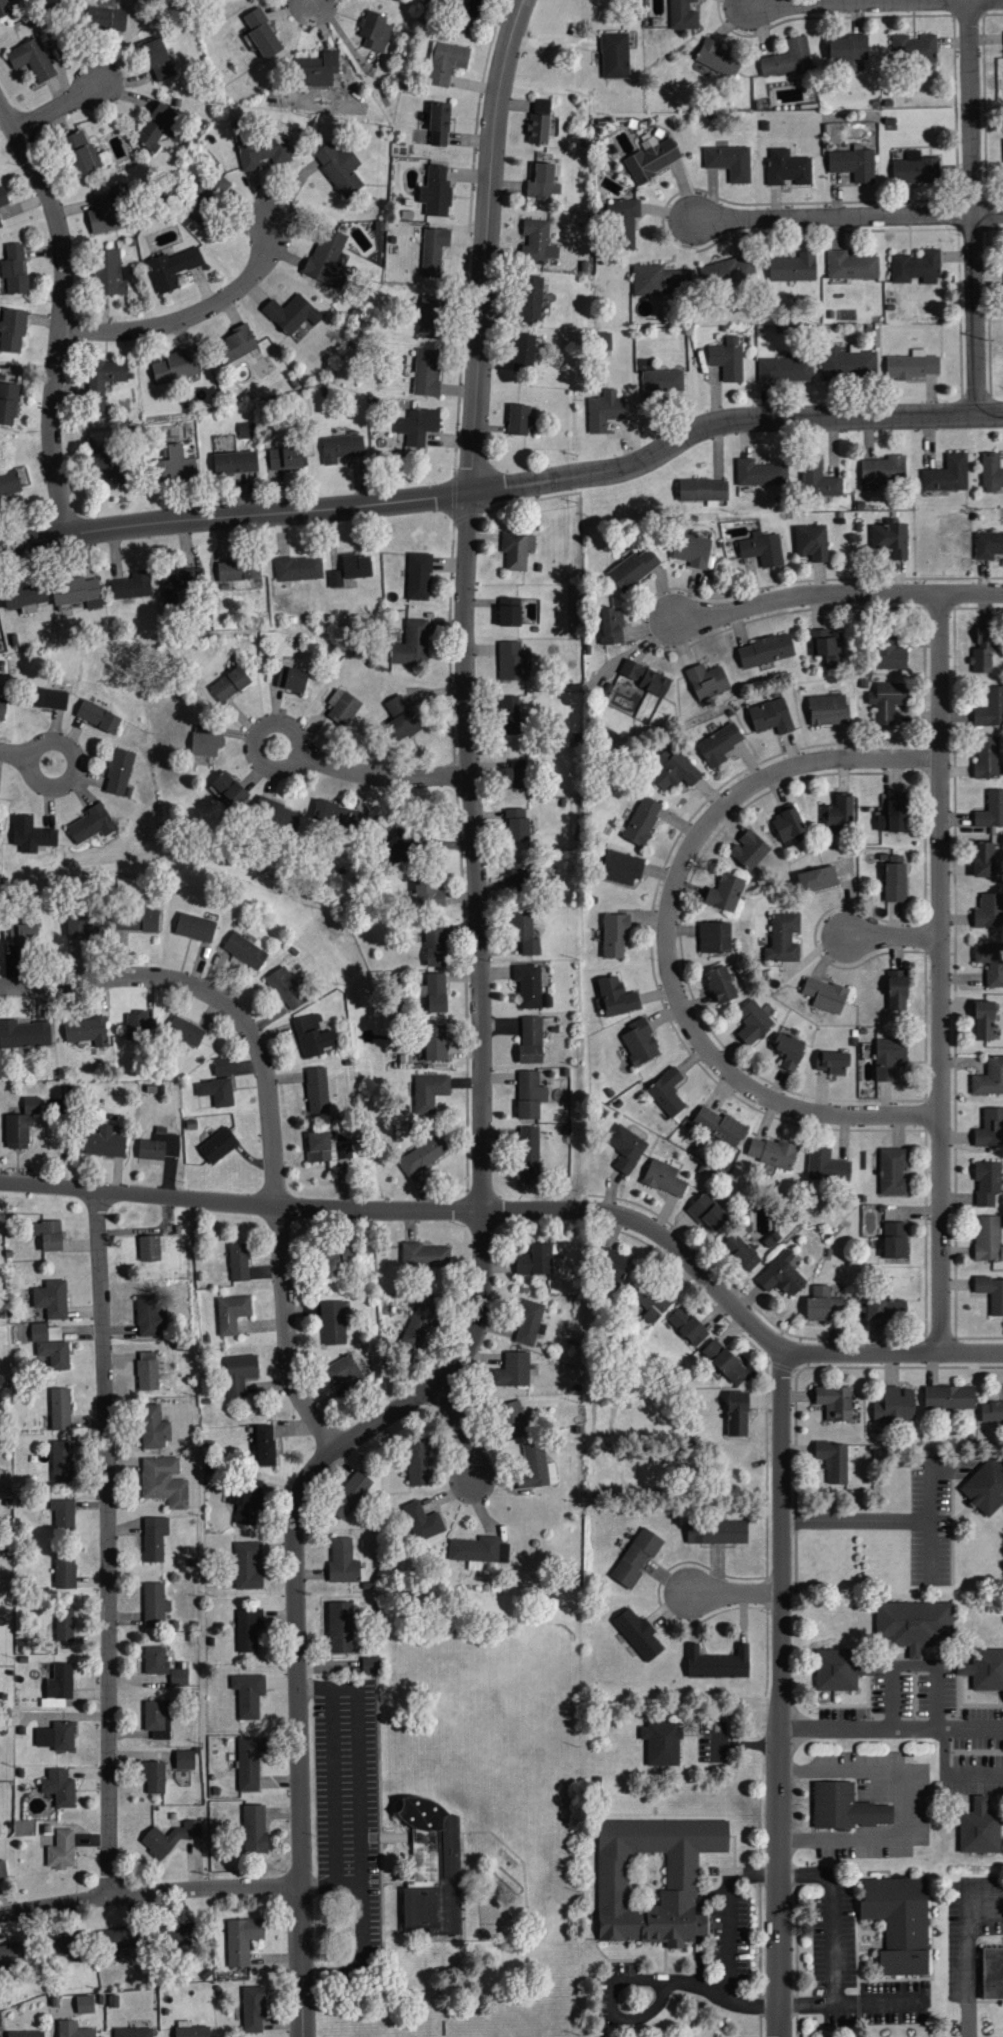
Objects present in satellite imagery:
road: (925, 0)
road: (858, 2)
building: (5, 8)
building: (470, 8)
building: (683, 15)
building: (106, 19)
building: (376, 31)
building: (262, 33)
building: (914, 47)
building: (849, 48)
building: (615, 55)
building: (719, 58)
building: (32, 59)
building: (158, 59)
building: (789, 59)
building: (445, 62)
building: (318, 69)
road: (54, 103)
building: (539, 122)
building: (439, 124)
building: (159, 127)
building: (75, 140)
building: (263, 150)
building: (652, 158)
building: (82, 162)
building: (730, 162)
building: (854, 164)
building: (339, 167)
building: (788, 167)
building: (917, 169)
building: (542, 182)
building: (436, 192)
building: (3, 197)
building: (208, 198)
road: (971, 208)
building: (105, 212)
road: (987, 213)
road: (832, 217)
building: (625, 223)
building: (0, 225)
road: (463, 245)
building: (434, 250)
building: (328, 258)
building: (851, 265)
building: (793, 267)
building: (917, 267)
building: (172, 268)
building: (15, 270)
building: (728, 272)
building: (112, 273)
building: (658, 279)
building: (532, 299)
road: (187, 311)
road: (56, 313)
building: (292, 313)
building: (430, 317)
building: (12, 331)
building: (237, 344)
building: (525, 352)
building: (728, 359)
building: (847, 363)
building: (913, 365)
building: (175, 366)
building: (786, 369)
building: (427, 372)
building: (104, 381)
building: (660, 384)
building: (8, 404)
building: (604, 411)
road: (729, 415)
road: (989, 415)
building: (519, 420)
road: (716, 424)
building: (416, 427)
building: (246, 431)
building: (341, 448)
building: (285, 458)
building: (235, 463)
building: (110, 465)
building: (175, 465)
building: (883, 470)
building: (991, 471)
building: (760, 472)
building: (947, 474)
building: (818, 480)
building: (9, 483)
building: (703, 490)
road: (233, 506)
road: (233, 514)
building: (891, 538)
building: (812, 542)
building: (988, 544)
building: (518, 550)
building: (692, 550)
building: (357, 566)
building: (634, 568)
building: (299, 569)
building: (238, 570)
building: (419, 576)
building: (336, 578)
building: (132, 586)
building: (75, 590)
road: (837, 593)
building: (25, 598)
building: (510, 613)
building: (611, 626)
building: (413, 644)
building: (827, 647)
building: (766, 650)
building: (984, 651)
building: (889, 654)
building: (512, 661)
building: (646, 677)
building: (292, 679)
building: (706, 680)
building: (230, 685)
building: (49, 699)
building: (887, 699)
building: (343, 707)
building: (2, 708)
building: (990, 708)
building: (828, 709)
building: (771, 716)
building: (98, 717)
building: (402, 720)
building: (719, 744)
building: (206, 745)
road: (11, 752)
building: (987, 757)
road: (311, 760)
road: (72, 767)
building: (676, 772)
building: (120, 773)
building: (518, 773)
building: (228, 789)
building: (991, 810)
building: (838, 813)
building: (894, 813)
building: (278, 814)
building: (336, 816)
building: (642, 821)
building: (517, 825)
building: (788, 825)
building: (94, 826)
building: (31, 835)
building: (749, 850)
building: (984, 860)
building: (621, 867)
building: (521, 877)
building: (817, 878)
building: (895, 883)
building: (725, 893)
building: (989, 911)
building: (133, 923)
building: (82, 926)
building: (195, 926)
building: (21, 932)
building: (615, 934)
building: (527, 936)
road: (666, 937)
building: (783, 937)
road: (892, 937)
building: (715, 938)
building: (435, 944)
building: (245, 950)
building: (991, 960)
road: (940, 973)
building: (721, 983)
building: (529, 984)
building: (286, 987)
building: (898, 988)
building: (437, 991)
building: (825, 993)
building: (617, 995)
building: (984, 1019)
building: (753, 1021)
building: (140, 1025)
building: (87, 1030)
building: (185, 1030)
building: (24, 1033)
building: (313, 1035)
building: (531, 1038)
building: (640, 1040)
building: (436, 1041)
building: (788, 1047)
building: (889, 1056)
road: (478, 1057)
building: (831, 1060)
building: (221, 1065)
building: (989, 1076)
building: (317, 1089)
building: (429, 1090)
building: (216, 1091)
building: (667, 1091)
building: (530, 1096)
building: (32, 1104)
road: (269, 1110)
building: (720, 1124)
building: (990, 1126)
building: (18, 1130)
building: (105, 1142)
building: (218, 1144)
building: (159, 1145)
building: (319, 1145)
building: (626, 1146)
building: (346, 1149)
building: (529, 1151)
building: (771, 1151)
building: (424, 1154)
building: (827, 1164)
building: (893, 1170)
building: (664, 1177)
building: (987, 1181)
building: (708, 1210)
road: (418, 1211)
building: (48, 1233)
building: (988, 1237)
building: (895, 1238)
building: (149, 1247)
building: (742, 1250)
building: (350, 1253)
building: (425, 1254)
building: (535, 1259)
building: (238, 1261)
building: (328, 1262)
building: (616, 1264)
building: (782, 1273)
building: (991, 1291)
building: (51, 1298)
building: (651, 1298)
building: (823, 1303)
building: (886, 1308)
building: (231, 1312)
building: (150, 1314)
building: (421, 1321)
building: (333, 1322)
building: (530, 1322)
building: (688, 1324)
building: (51, 1344)
road: (894, 1353)
building: (724, 1360)
building: (513, 1368)
building: (149, 1369)
building: (345, 1371)
building: (239, 1372)
building: (950, 1396)
building: (835, 1401)
building: (895, 1404)
building: (60, 1407)
building: (992, 1410)
building: (738, 1413)
building: (514, 1419)
building: (153, 1426)
road: (462, 1429)
building: (264, 1444)
building: (61, 1459)
building: (835, 1459)
building: (419, 1460)
building: (536, 1467)
building: (164, 1480)
building: (986, 1486)
building: (350, 1493)
building: (248, 1500)
building: (63, 1513)
building: (423, 1520)
road: (856, 1520)
road: (930, 1520)
building: (717, 1531)
building: (154, 1537)
road: (106, 1542)
building: (479, 1548)
building: (636, 1556)
building: (343, 1560)
building: (247, 1564)
building: (64, 1572)
road: (735, 1593)
building: (155, 1604)
building: (914, 1622)
building: (64, 1624)
building: (341, 1626)
building: (248, 1628)
building: (639, 1633)
building: (156, 1660)
building: (718, 1662)
building: (370, 1664)
road: (913, 1664)
building: (984, 1667)
building: (837, 1668)
building: (178, 1676)
building: (58, 1685)
building: (248, 1694)
road: (779, 1694)
building: (157, 1718)
road: (891, 1725)
building: (57, 1735)
building: (662, 1742)
building: (184, 1759)
building: (250, 1762)
road: (947, 1775)
building: (155, 1777)
building: (59, 1787)
parking lot: (349, 1797)
road: (907, 1804)
road: (342, 1805)
building: (843, 1807)
road: (371, 1824)
building: (979, 1827)
building: (254, 1828)
building: (169, 1837)
building: (61, 1849)
building: (432, 1867)
building: (3, 1869)
building: (612, 1870)
road: (358, 1879)
road: (148, 1893)
building: (900, 1921)
building: (178, 1933)
building: (124, 1937)
road: (728, 1937)
building: (241, 1939)
building: (64, 1944)
road: (833, 1945)
building: (12, 1956)
road: (966, 1965)
building: (992, 1971)
road: (617, 1980)
building: (84, 2003)
road: (875, 2003)
building: (253, 2008)
building: (74, 2029)
building: (191, 2029)
building: (132, 2032)
building: (25, 2033)

